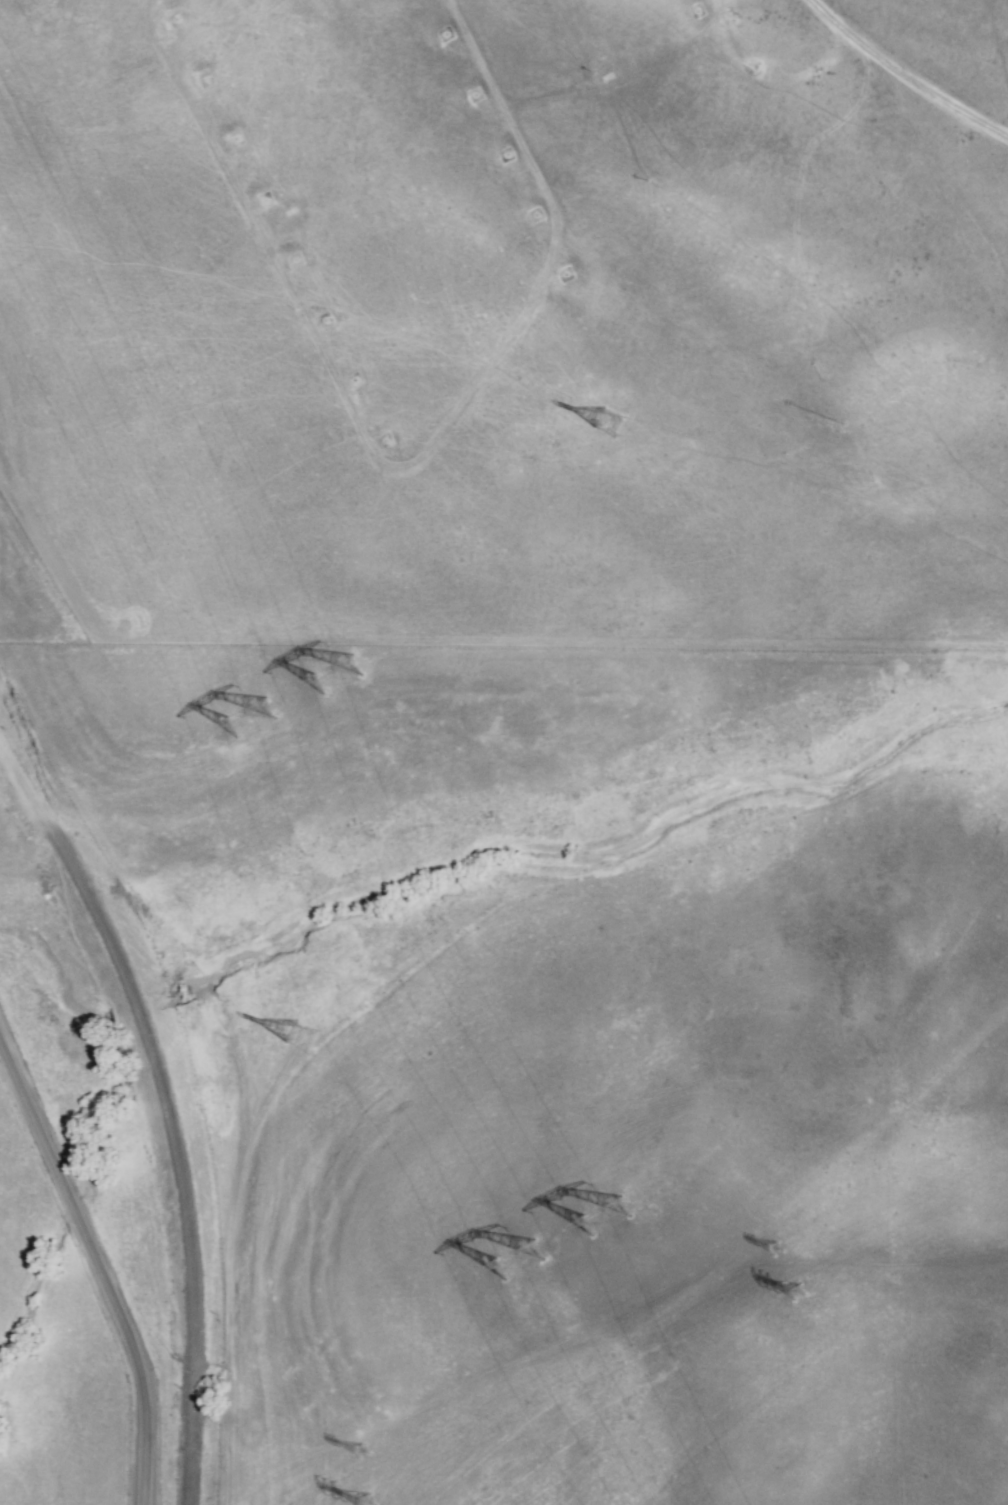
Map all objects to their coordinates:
power tower: (615, 439)
power tower: (345, 676)
power tower: (268, 706)
road: (425, 944)
power tower: (311, 1033)
power tower: (623, 1215)
power tower: (782, 1250)
power tower: (530, 1255)
road: (92, 1273)
power tower: (858, 1279)
power tower: (363, 1450)
power tower: (410, 1493)

